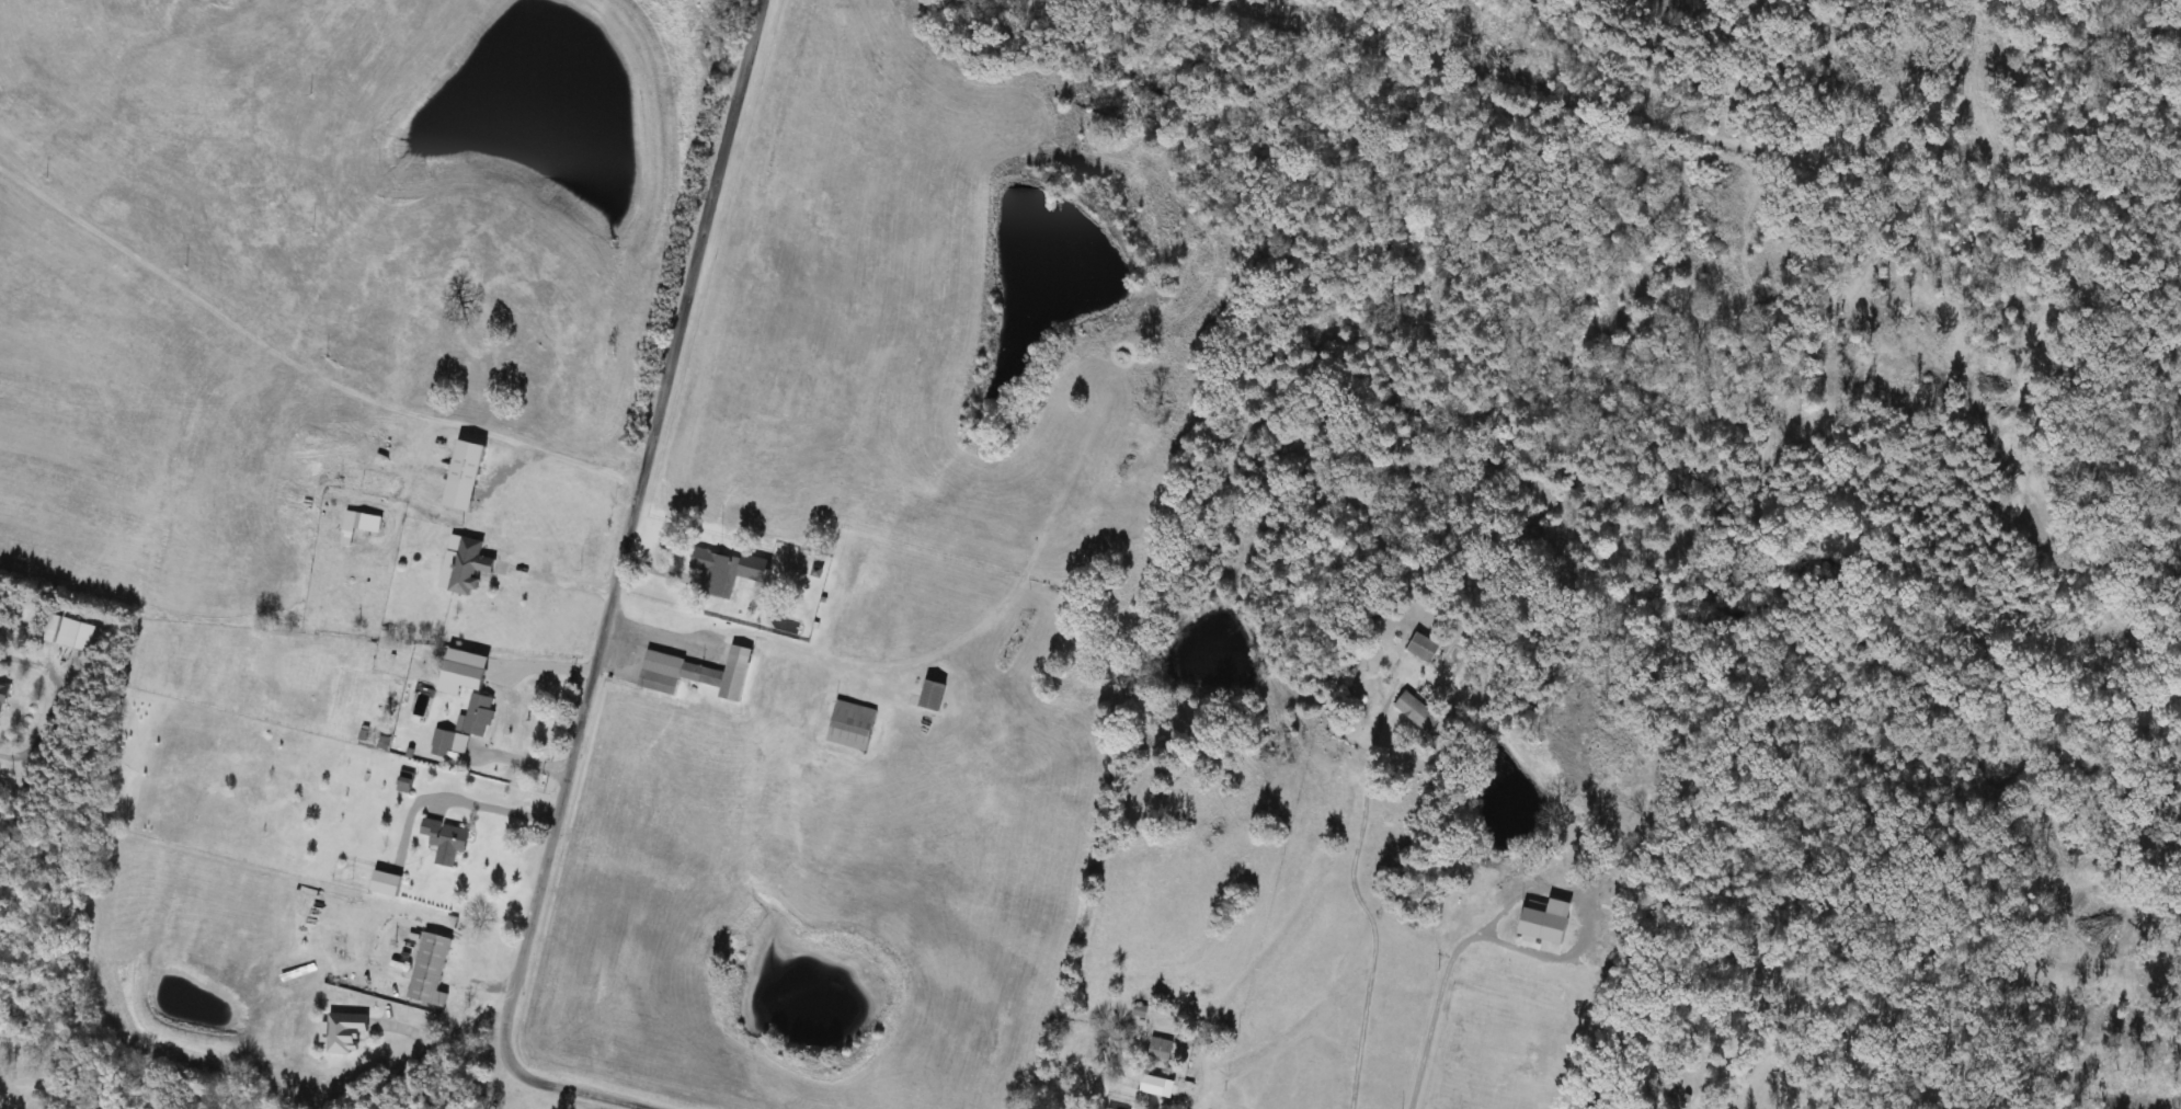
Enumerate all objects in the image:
road: (564, 454)
road: (630, 531)
building: (753, 569)
building: (713, 571)
building: (468, 573)
road: (560, 578)
building: (76, 636)
road: (663, 637)
building: (1423, 649)
road: (545, 662)
building: (696, 674)
building: (932, 696)
building: (2, 697)
building: (1416, 712)
building: (477, 717)
building: (852, 727)
building: (447, 744)
road: (521, 756)
building: (404, 784)
road: (491, 803)
building: (445, 843)
building: (385, 884)
road: (1361, 899)
road: (1590, 916)
building: (430, 972)
road: (1437, 1010)
building: (344, 1032)
road: (433, 1045)
building: (1160, 1050)
road: (129, 1070)
road: (587, 1085)
road: (489, 1086)
road: (632, 1104)

